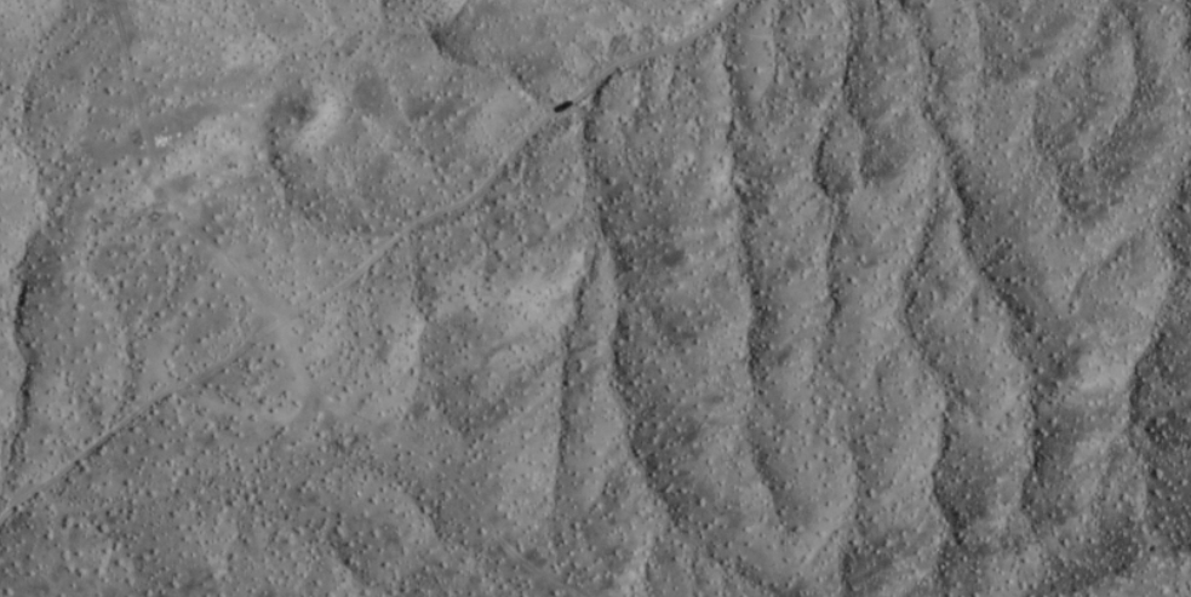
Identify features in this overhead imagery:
road: (357, 272)

